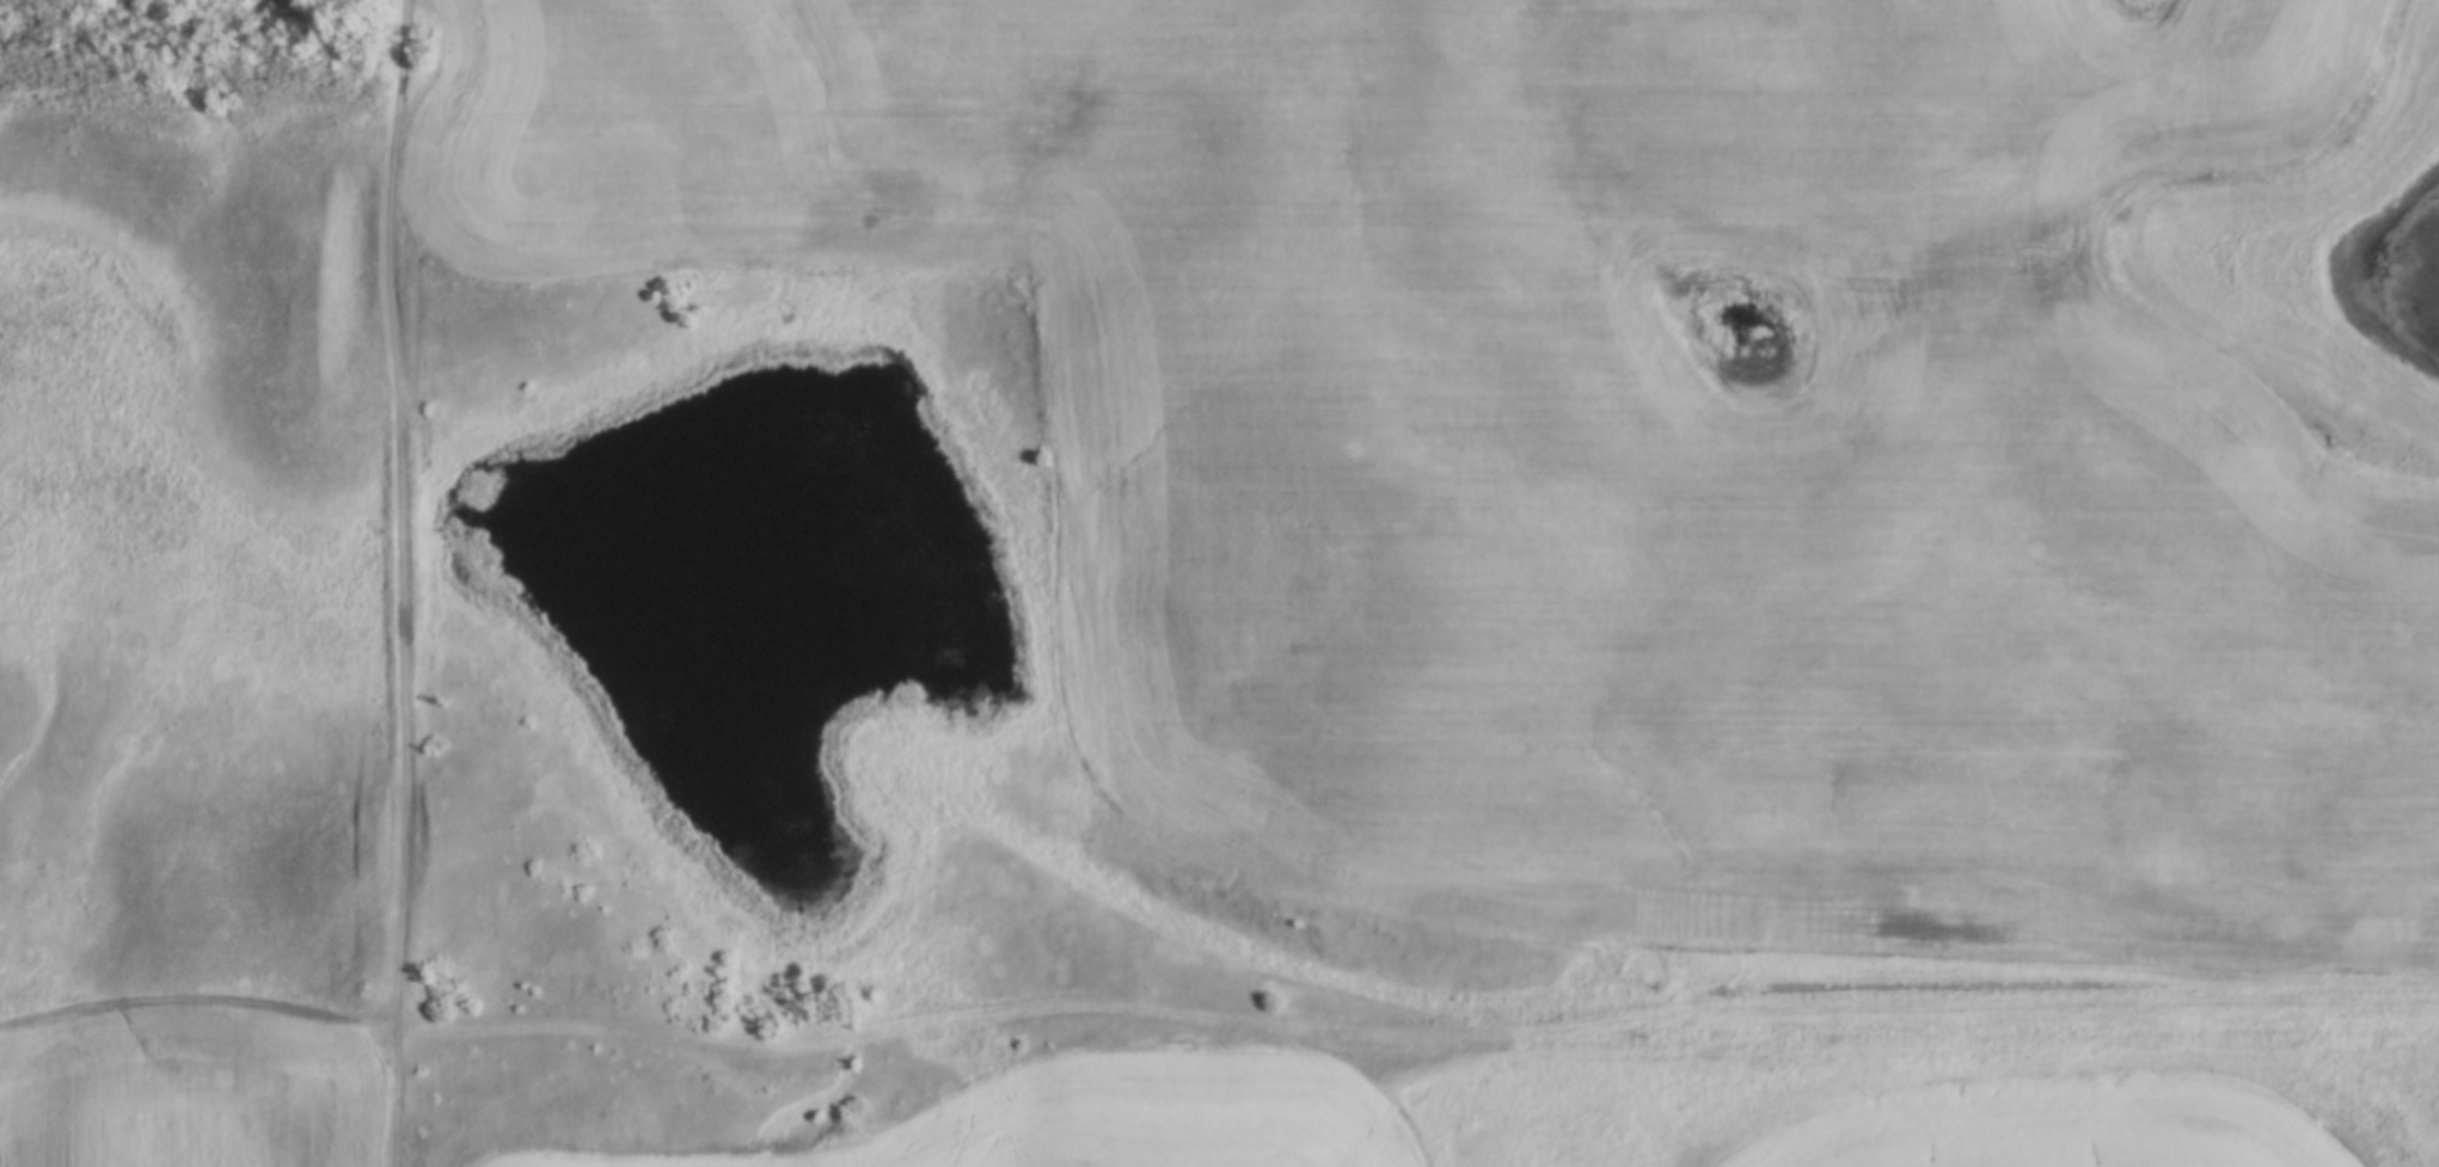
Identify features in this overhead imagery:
road: (394, 86)
wind turbine: (1232, 111)
road: (402, 573)
road: (1412, 1038)

